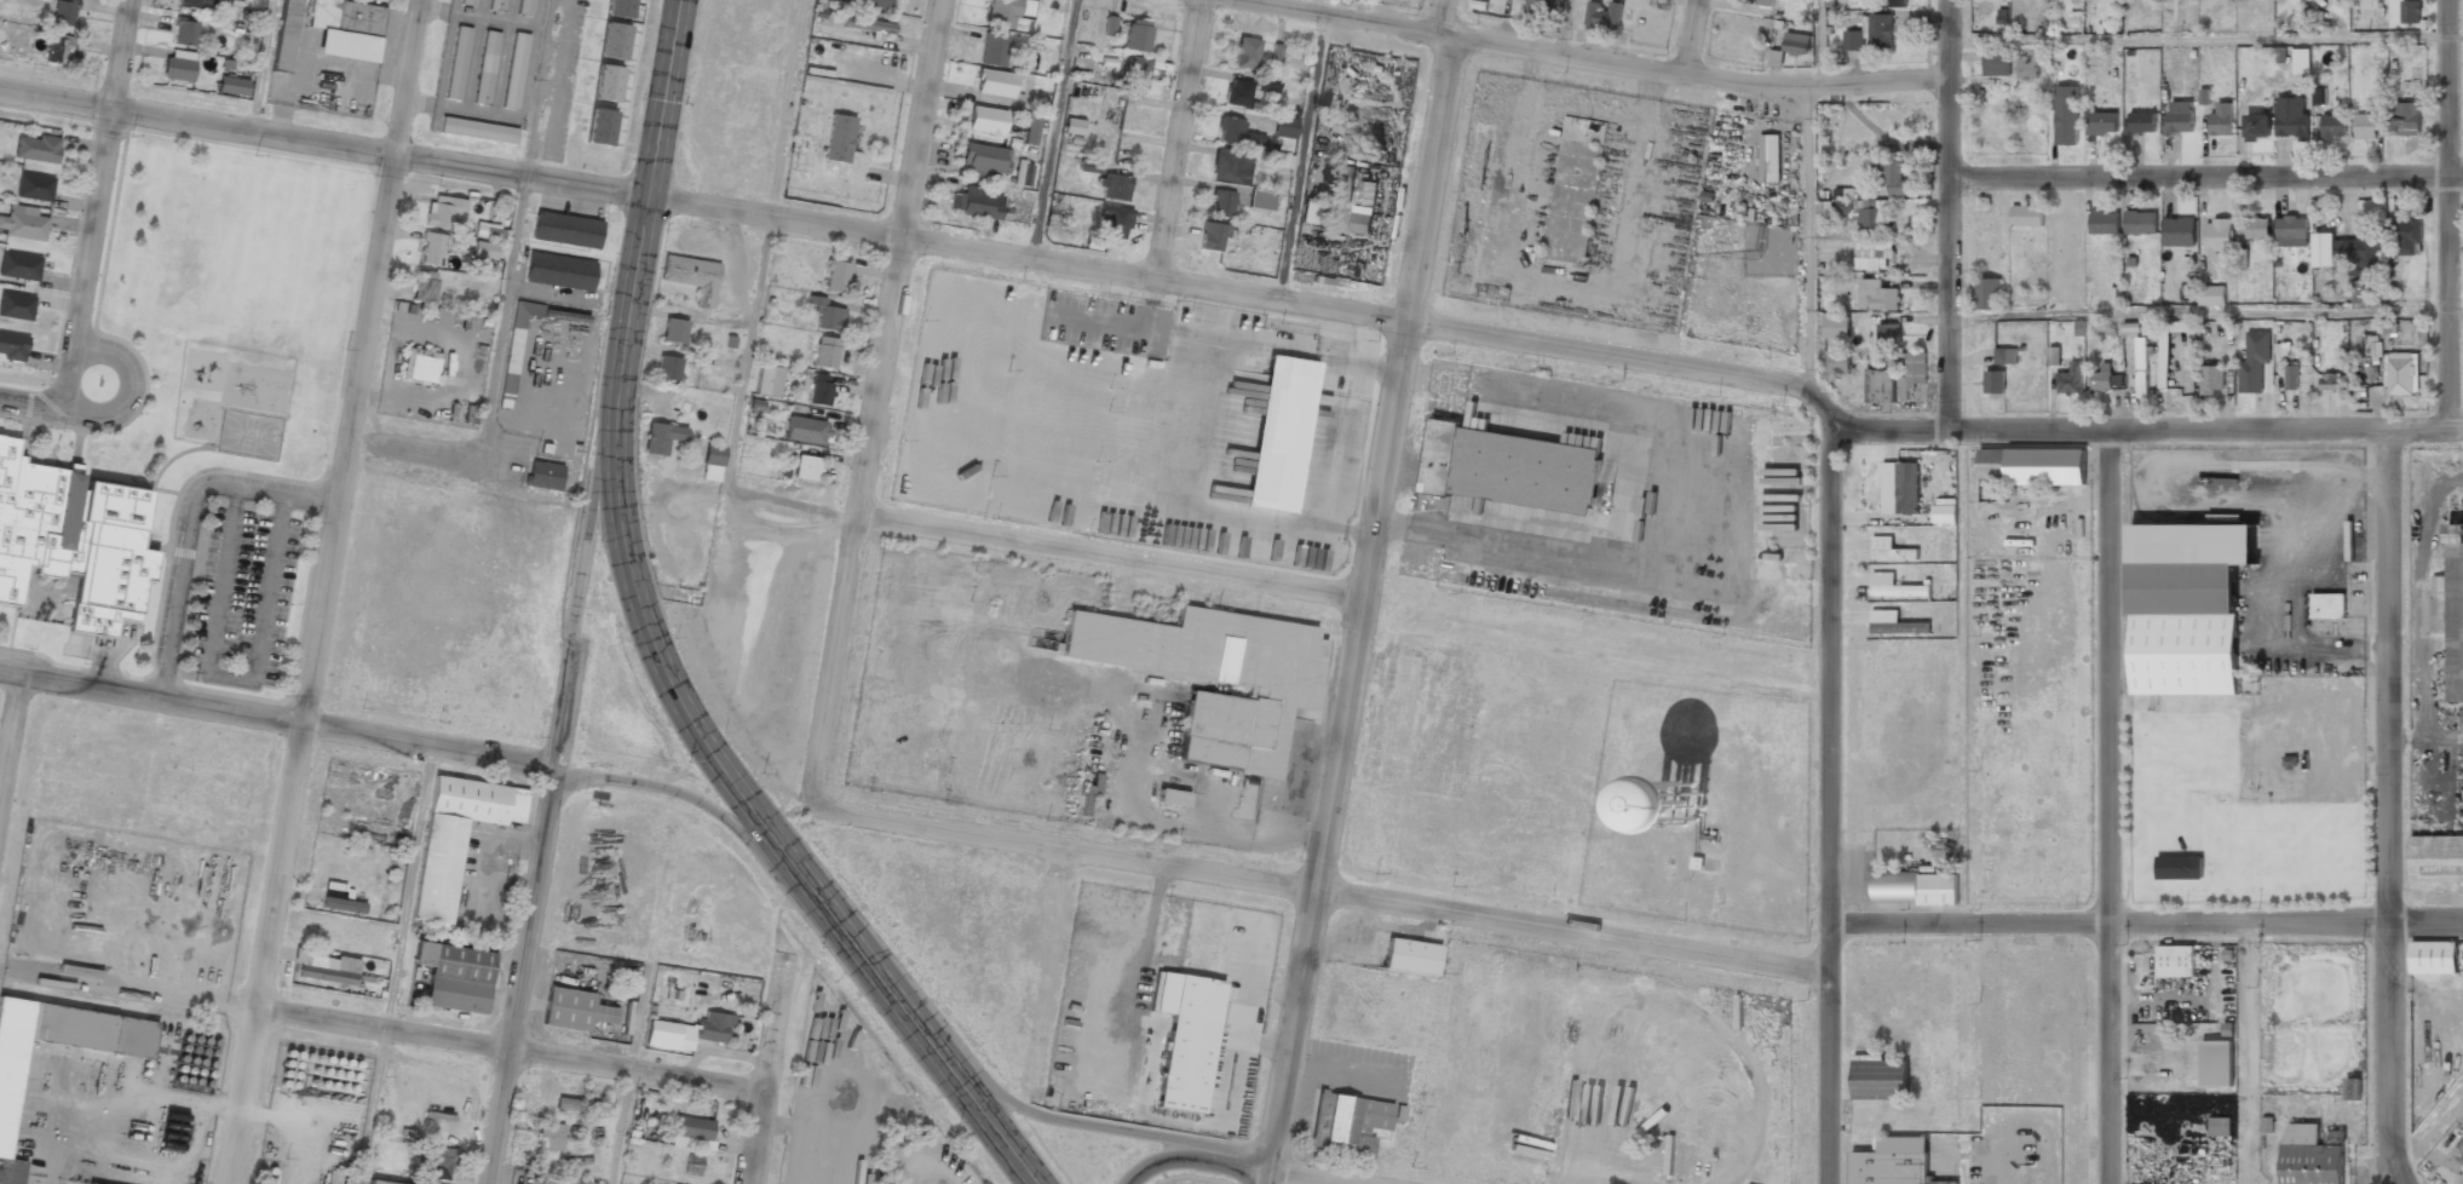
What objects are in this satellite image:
building: (1525, 0)
building: (2341, 0)
building: (865, 1)
building: (195, 2)
building: (467, 2)
building: (1766, 2)
building: (1894, 2)
building: (497, 5)
building: (525, 7)
building: (1540, 7)
building: (617, 8)
building: (1006, 11)
building: (2410, 11)
building: (64, 12)
building: (1605, 15)
building: (868, 24)
building: (1109, 25)
building: (345, 29)
building: (185, 30)
road: (1563, 30)
building: (1871, 33)
building: (1136, 35)
building: (284, 36)
road: (2209, 36)
building: (611, 42)
building: (1796, 42)
road: (1698, 45)
road: (1822, 46)
building: (58, 48)
building: (992, 48)
building: (1245, 53)
building: (1274, 53)
building: (1776, 57)
building: (458, 62)
building: (1996, 62)
building: (179, 65)
road: (260, 65)
building: (2028, 65)
building: (485, 67)
road: (1584, 67)
building: (514, 70)
building: (1135, 73)
building: (996, 82)
building: (604, 84)
building: (1267, 84)
building: (232, 86)
road: (539, 88)
building: (1237, 92)
building: (2179, 117)
building: (2291, 117)
building: (2222, 119)
building: (2405, 119)
building: (986, 120)
building: (2141, 121)
building: (2102, 122)
building: (1072, 126)
building: (2257, 126)
building: (2333, 126)
building: (2365, 126)
building: (1284, 127)
building: (598, 128)
building: (1031, 130)
road: (1051, 130)
building: (476, 131)
building: (1237, 132)
building: (838, 140)
road: (1180, 142)
building: (36, 148)
road: (1301, 151)
road: (2451, 155)
building: (1768, 157)
building: (983, 160)
building: (1278, 160)
building: (1089, 166)
building: (1230, 166)
building: (1023, 173)
building: (34, 186)
building: (1112, 186)
road: (2209, 188)
road: (651, 192)
building: (1365, 192)
building: (1260, 199)
building: (1220, 202)
building: (976, 203)
road: (97, 205)
building: (443, 211)
building: (1311, 211)
building: (2026, 215)
road: (1957, 218)
building: (1362, 219)
building: (1111, 222)
building: (2104, 222)
building: (2140, 222)
building: (23, 223)
building: (2257, 228)
building: (2290, 229)
building: (487, 230)
building: (565, 230)
building: (2179, 231)
building: (1210, 235)
building: (2219, 236)
building: (2407, 236)
road: (921, 242)
building: (432, 249)
building: (484, 249)
road: (1809, 251)
building: (2348, 252)
building: (1871, 255)
building: (19, 265)
building: (558, 272)
building: (835, 276)
building: (691, 278)
building: (425, 286)
building: (2358, 292)
building: (1986, 293)
building: (1877, 295)
building: (2211, 295)
building: (16, 305)
road: (2209, 312)
building: (825, 314)
road: (754, 315)
building: (1836, 327)
building: (674, 331)
building: (1888, 335)
building: (12, 346)
building: (2168, 346)
building: (514, 347)
building: (825, 352)
building: (2005, 355)
building: (2054, 356)
building: (1836, 361)
building: (2254, 361)
building: (420, 366)
building: (2141, 366)
building: (1916, 367)
building: (667, 368)
building: (2401, 372)
building: (2291, 377)
road: (490, 378)
building: (2101, 378)
building: (2071, 379)
building: (2211, 379)
building: (766, 380)
building: (2331, 380)
building: (1995, 381)
building: (1884, 385)
road: (130, 389)
building: (818, 389)
road: (879, 403)
road: (31, 404)
building: (805, 430)
building: (1279, 433)
building: (661, 437)
road: (2205, 437)
building: (712, 462)
building: (807, 467)
building: (2032, 467)
building: (1510, 469)
building: (543, 477)
building: (1900, 487)
building: (1945, 511)
building: (73, 541)
building: (1891, 550)
road: (1116, 580)
building: (1895, 586)
road: (328, 592)
road: (1377, 594)
building: (2327, 605)
building: (2451, 611)
building: (2182, 628)
building: (1216, 676)
road: (154, 699)
road: (10, 737)
road: (554, 766)
road: (556, 786)
building: (1172, 798)
building: (1081, 799)
road: (1835, 800)
water tower: (1673, 803)
building: (1681, 803)
road: (2120, 810)
water tower: (1669, 811)
road: (2387, 811)
road: (753, 814)
building: (455, 839)
building: (2436, 860)
building: (2179, 867)
building: (1915, 889)
road: (1319, 890)
building: (343, 907)
road: (2147, 926)
building: (1410, 959)
building: (2433, 959)
building: (2176, 960)
road: (395, 964)
building: (320, 972)
building: (454, 978)
building: (572, 1011)
building: (712, 1028)
road: (380, 1029)
building: (671, 1034)
building: (1189, 1046)
road: (765, 1073)
road: (628, 1074)
building: (1880, 1079)
building: (2353, 1088)
building: (581, 1107)
building: (6, 1111)
road: (1064, 1122)
building: (2220, 1126)
building: (1347, 1127)
building: (692, 1132)
building: (549, 1136)
building: (2335, 1137)
building: (2310, 1156)
building: (438, 1161)
road: (1159, 1161)
building: (1893, 1162)
building: (692, 1165)
road: (1290, 1167)
building: (372, 1183)

